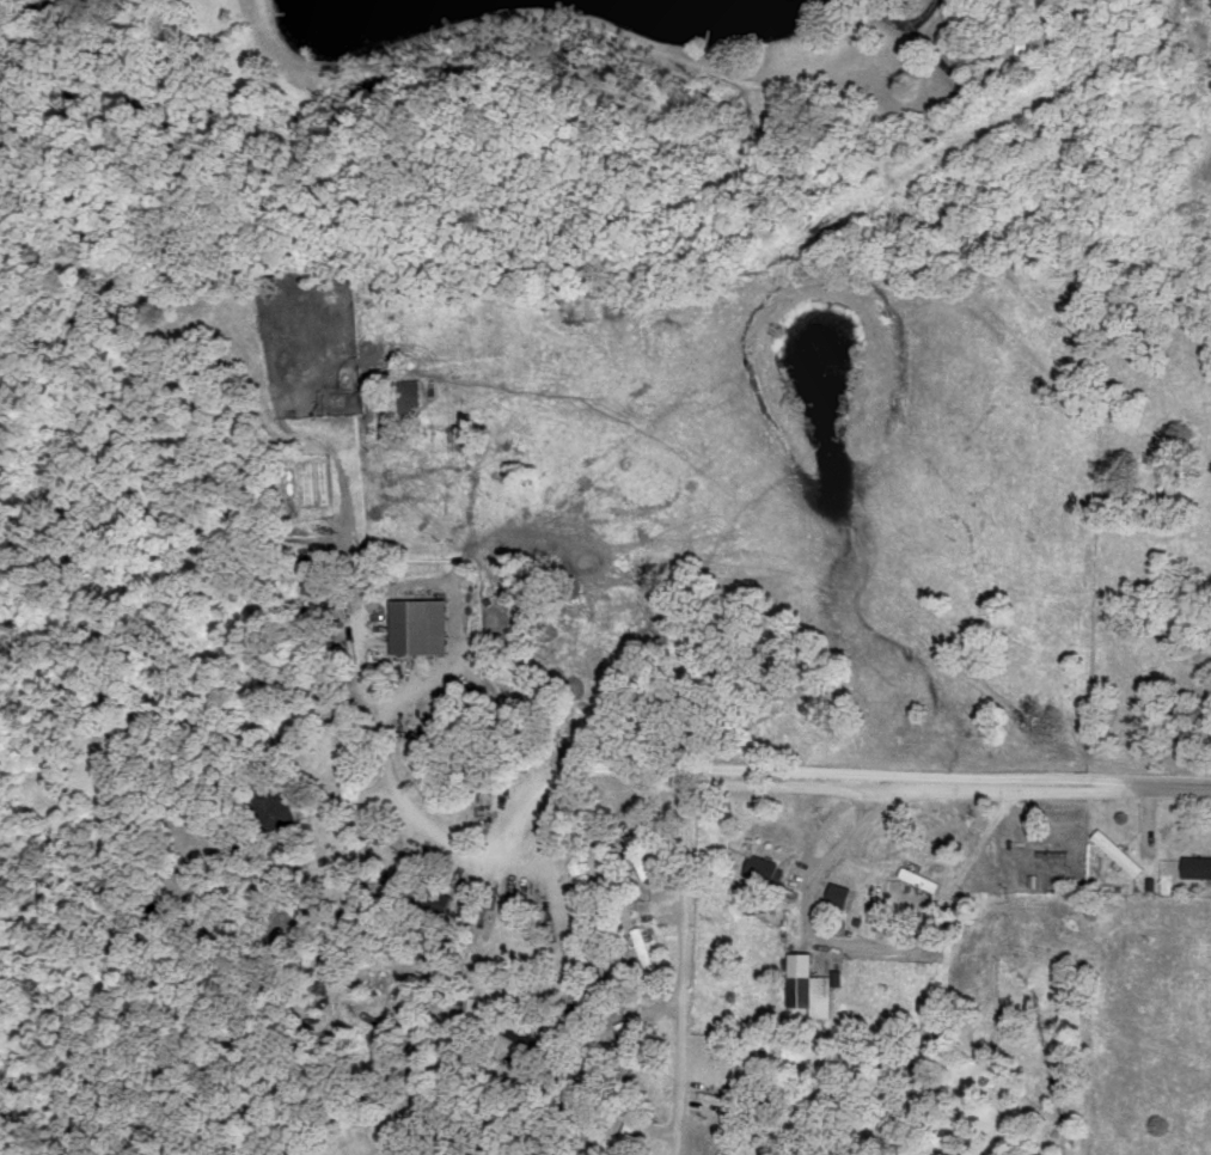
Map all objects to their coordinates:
building: (412, 392)
building: (426, 624)
road: (843, 774)
road: (887, 793)
road: (819, 829)
road: (453, 848)
building: (1120, 851)
building: (1198, 864)
building: (765, 867)
building: (923, 878)
building: (842, 893)
road: (561, 909)
road: (866, 945)
building: (643, 947)
road: (684, 973)
building: (811, 983)
building: (629, 1041)
building: (744, 1072)
building: (624, 1137)

